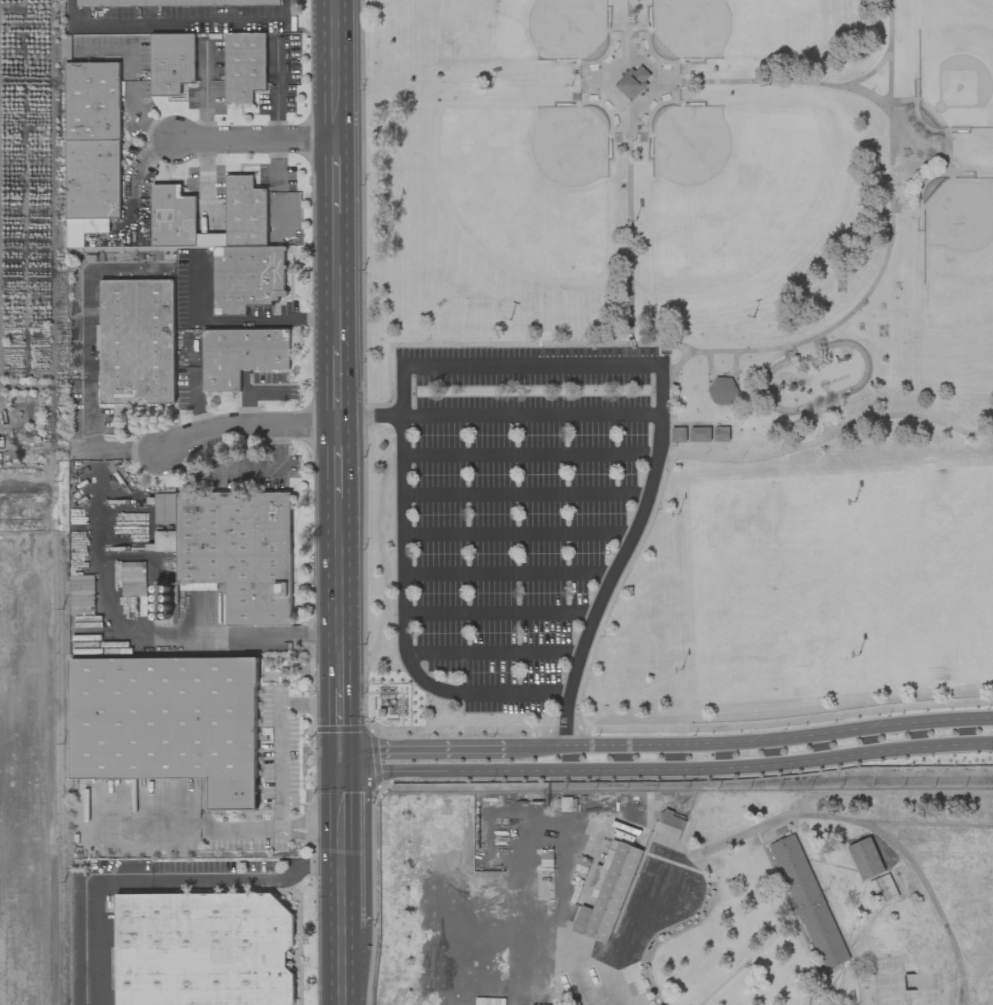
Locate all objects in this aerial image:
building: (173, 3)
road: (174, 20)
park: (475, 22)
road: (629, 25)
park: (507, 29)
park: (732, 29)
building: (171, 63)
park: (956, 65)
road: (336, 68)
building: (248, 69)
road: (871, 72)
road: (779, 80)
building: (632, 82)
road: (205, 91)
road: (633, 109)
road: (165, 136)
road: (254, 138)
road: (336, 175)
building: (98, 184)
park: (750, 196)
park: (516, 207)
park: (503, 214)
building: (250, 215)
building: (178, 220)
road: (630, 228)
park: (959, 262)
road: (336, 318)
building: (136, 341)
road: (822, 342)
road: (745, 351)
road: (791, 353)
building: (241, 355)
park: (677, 358)
road: (533, 367)
road: (723, 374)
building: (722, 391)
road: (673, 398)
road: (722, 402)
road: (806, 403)
road: (829, 410)
road: (840, 410)
road: (532, 417)
road: (822, 417)
road: (369, 418)
road: (246, 426)
road: (833, 433)
building: (678, 434)
building: (709, 434)
road: (530, 457)
road: (337, 461)
road: (526, 497)
road: (314, 502)
road: (358, 502)
parking lot: (518, 513)
road: (404, 527)
road: (519, 537)
building: (227, 553)
road: (622, 557)
road: (508, 576)
park: (931, 578)
building: (133, 579)
road: (622, 585)
park: (772, 588)
road: (338, 593)
road: (500, 616)
road: (494, 656)
road: (494, 694)
road: (784, 722)
building: (167, 723)
road: (339, 725)
road: (281, 735)
road: (666, 744)
road: (666, 768)
road: (312, 822)
building: (670, 825)
road: (284, 827)
road: (252, 833)
road: (311, 834)
road: (340, 845)
building: (865, 859)
road: (248, 878)
building: (884, 889)
building: (608, 893)
building: (808, 902)
road: (101, 915)
road: (633, 934)
building: (203, 949)
road: (341, 966)

